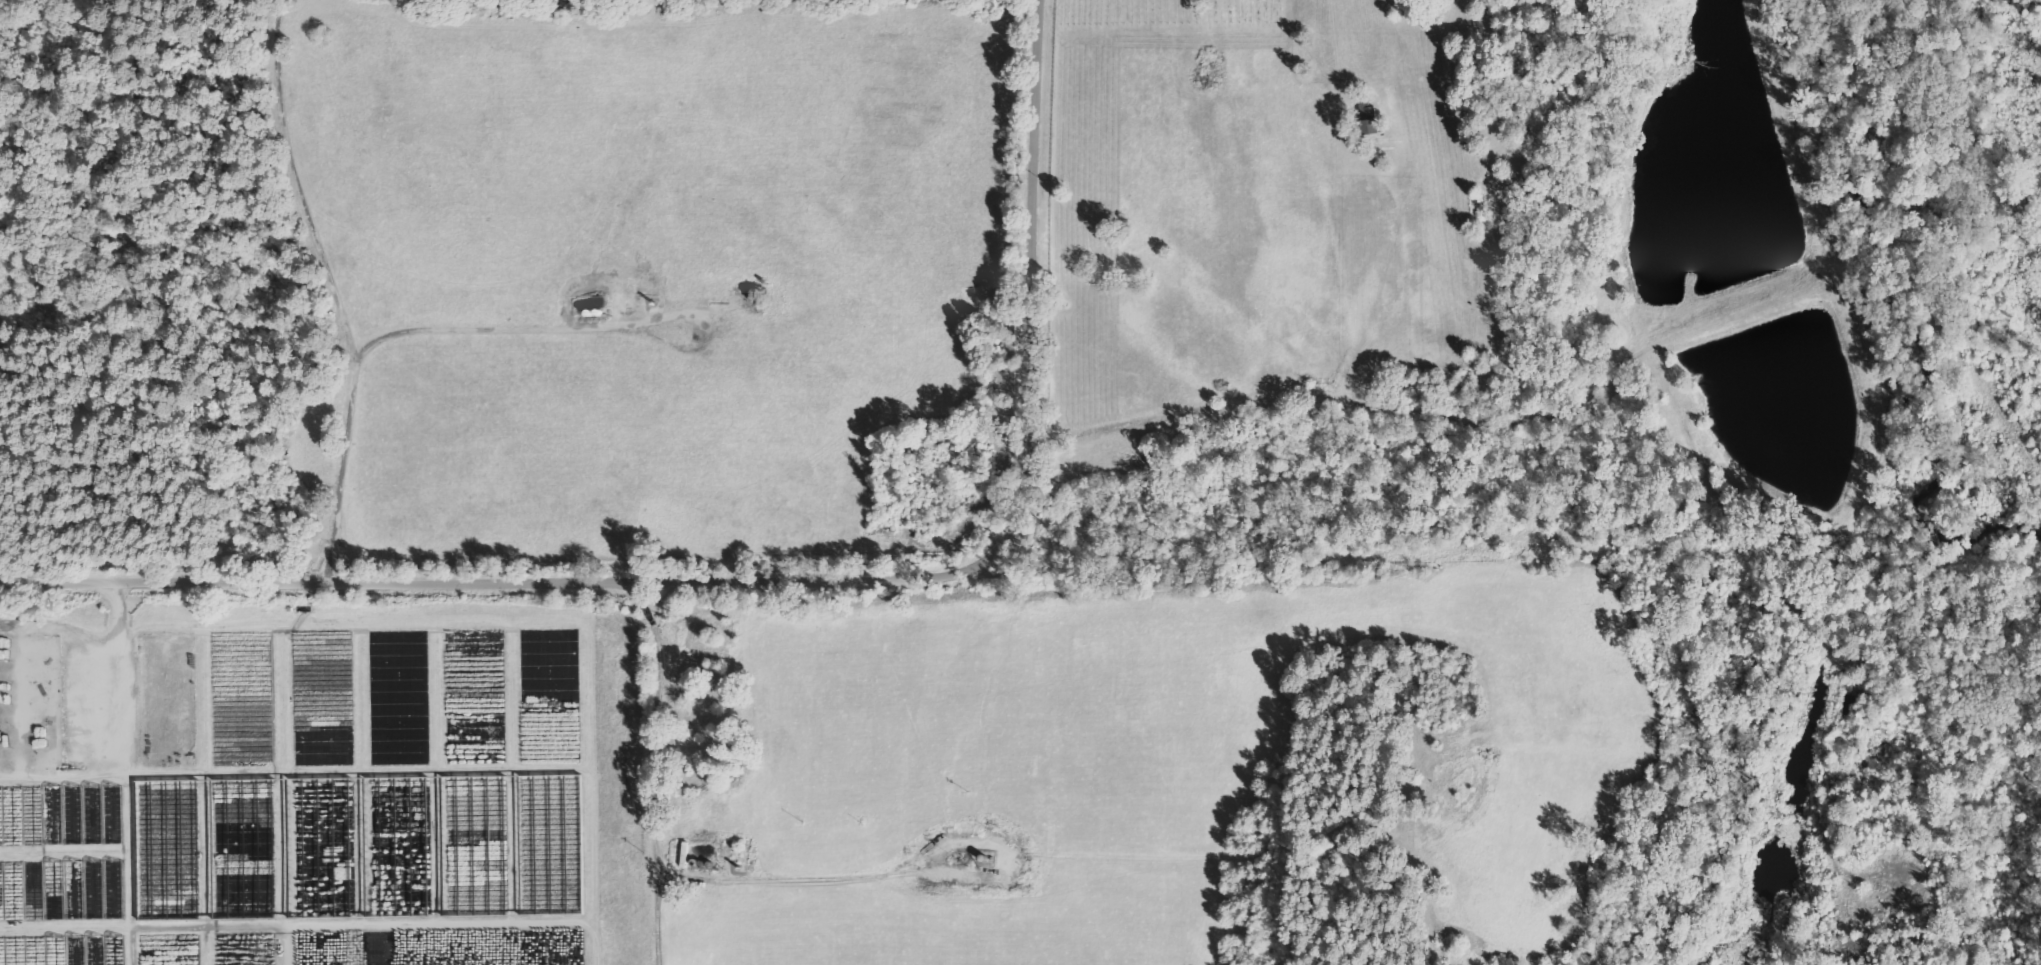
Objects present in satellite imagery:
building: (1370, 119)
road: (784, 580)

